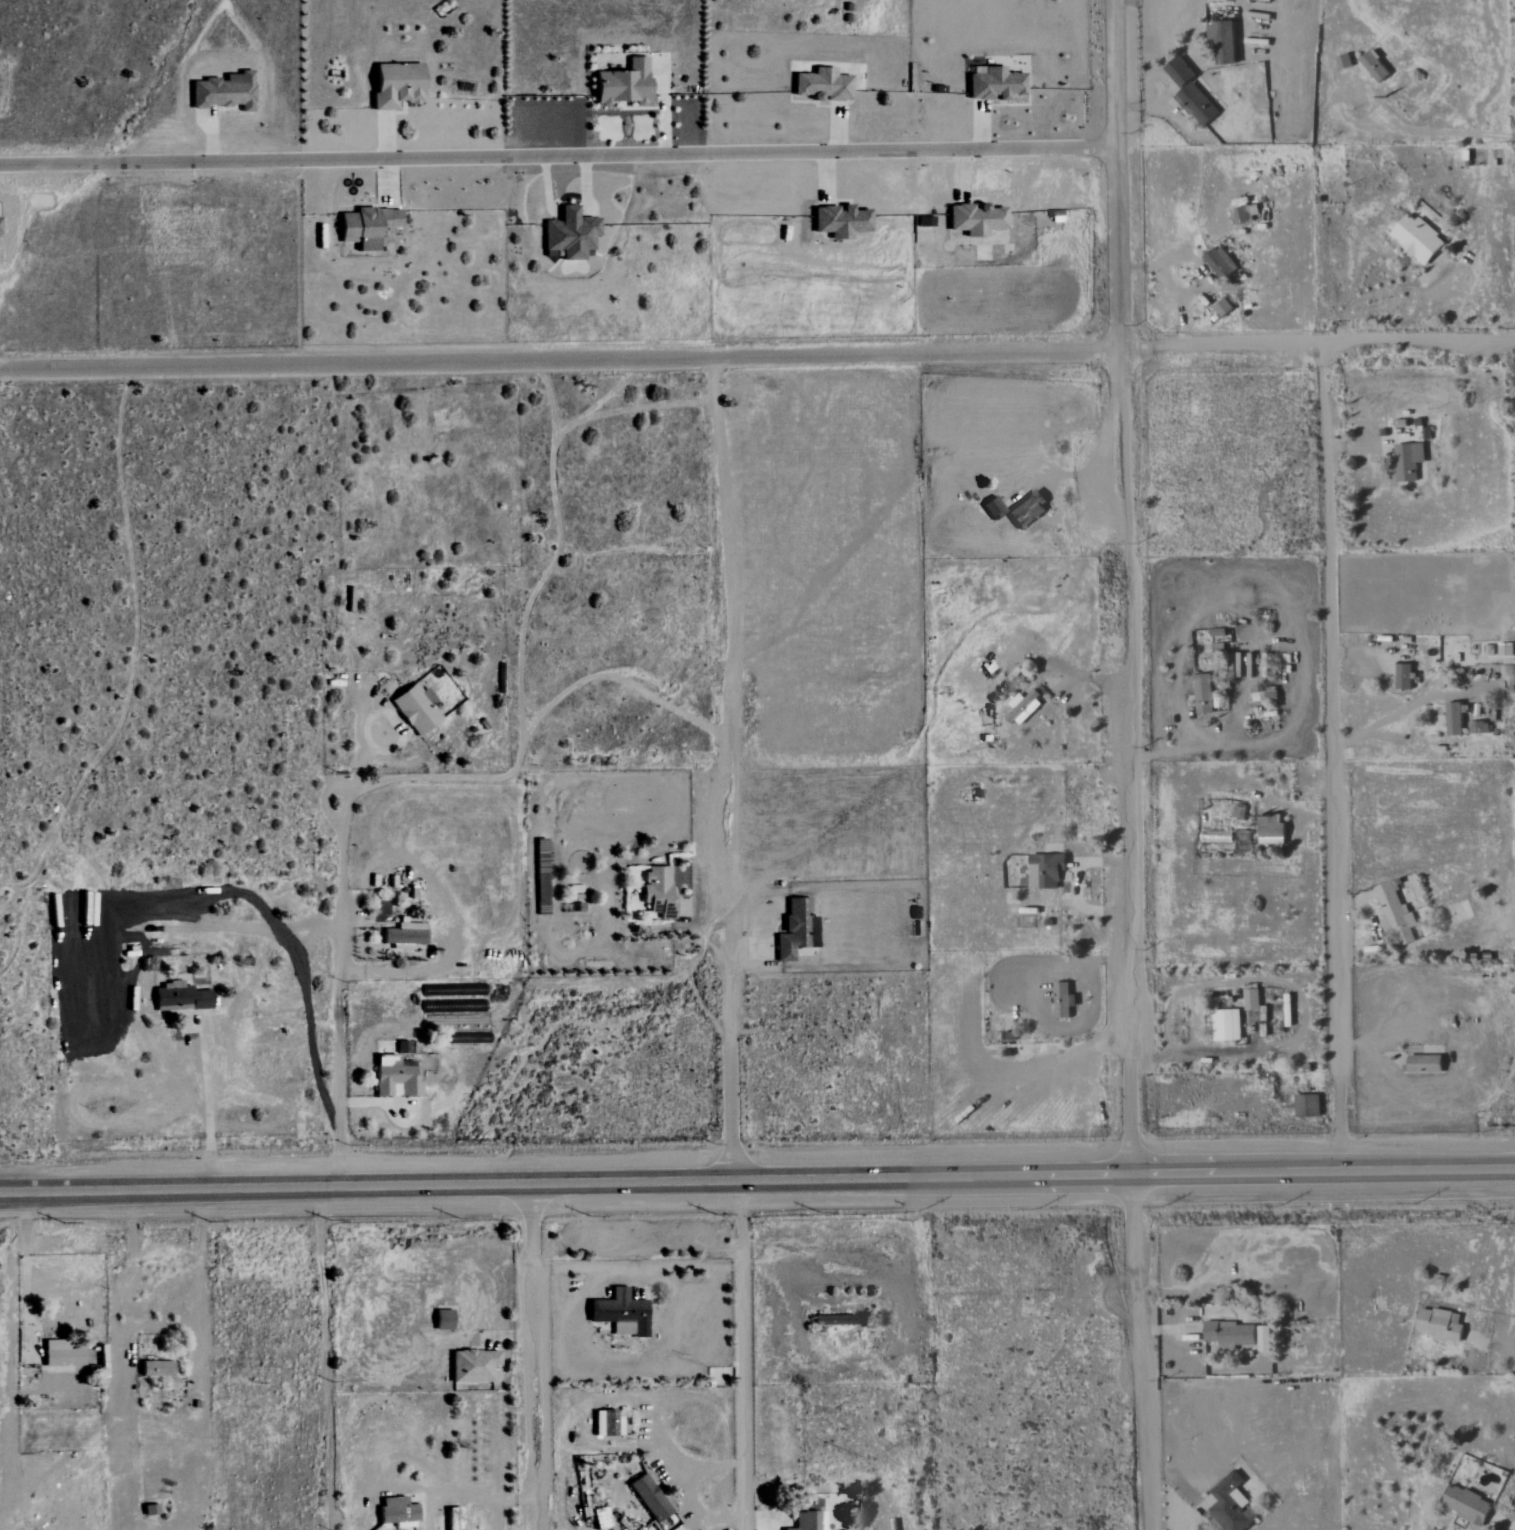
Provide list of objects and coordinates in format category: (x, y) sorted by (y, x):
building: (1223, 41)
building: (1344, 61)
building: (1374, 66)
building: (1179, 72)
building: (622, 83)
building: (994, 84)
building: (821, 85)
building: (394, 88)
building: (223, 91)
building: (1197, 103)
road: (1419, 132)
road: (557, 157)
road: (1114, 174)
road: (1256, 195)
building: (1244, 214)
building: (975, 219)
building: (840, 221)
building: (366, 223)
building: (569, 234)
building: (1418, 238)
road: (1379, 255)
building: (1219, 262)
road: (1334, 344)
road: (1135, 349)
road: (558, 362)
road: (1362, 445)
building: (1408, 461)
road: (1064, 473)
building: (993, 508)
road: (720, 636)
road: (1365, 652)
road: (1074, 673)
building: (1403, 677)
building: (1204, 694)
building: (1023, 707)
building: (415, 709)
road: (1382, 720)
building: (1461, 720)
road: (400, 740)
road: (1194, 749)
road: (1334, 757)
road: (1126, 762)
road: (1273, 801)
building: (1271, 830)
building: (1045, 871)
road: (1073, 885)
building: (657, 891)
road: (701, 908)
building: (1395, 914)
road: (1377, 926)
building: (795, 930)
building: (403, 936)
road: (749, 950)
road: (727, 979)
road: (339, 990)
building: (179, 997)
building: (1061, 1000)
building: (1251, 1000)
road: (1303, 1004)
building: (1226, 1025)
road: (1375, 1038)
building: (401, 1047)
building: (1425, 1064)
building: (394, 1078)
road: (206, 1091)
building: (1307, 1105)
road: (731, 1113)
road: (210, 1171)
road: (757, 1180)
road: (530, 1219)
road: (1136, 1221)
road: (24, 1265)
building: (619, 1310)
building: (832, 1320)
building: (1438, 1324)
road: (166, 1330)
building: (1229, 1334)
building: (1265, 1338)
building: (60, 1354)
road: (739, 1355)
road: (322, 1359)
road: (1192, 1362)
building: (472, 1365)
building: (155, 1368)
road: (10, 1380)
road: (532, 1392)
road: (1140, 1397)
road: (409, 1487)
building: (649, 1497)
road: (695, 1497)
building: (1467, 1504)
building: (1229, 1505)
building: (396, 1511)
building: (599, 1518)
building: (805, 1520)

